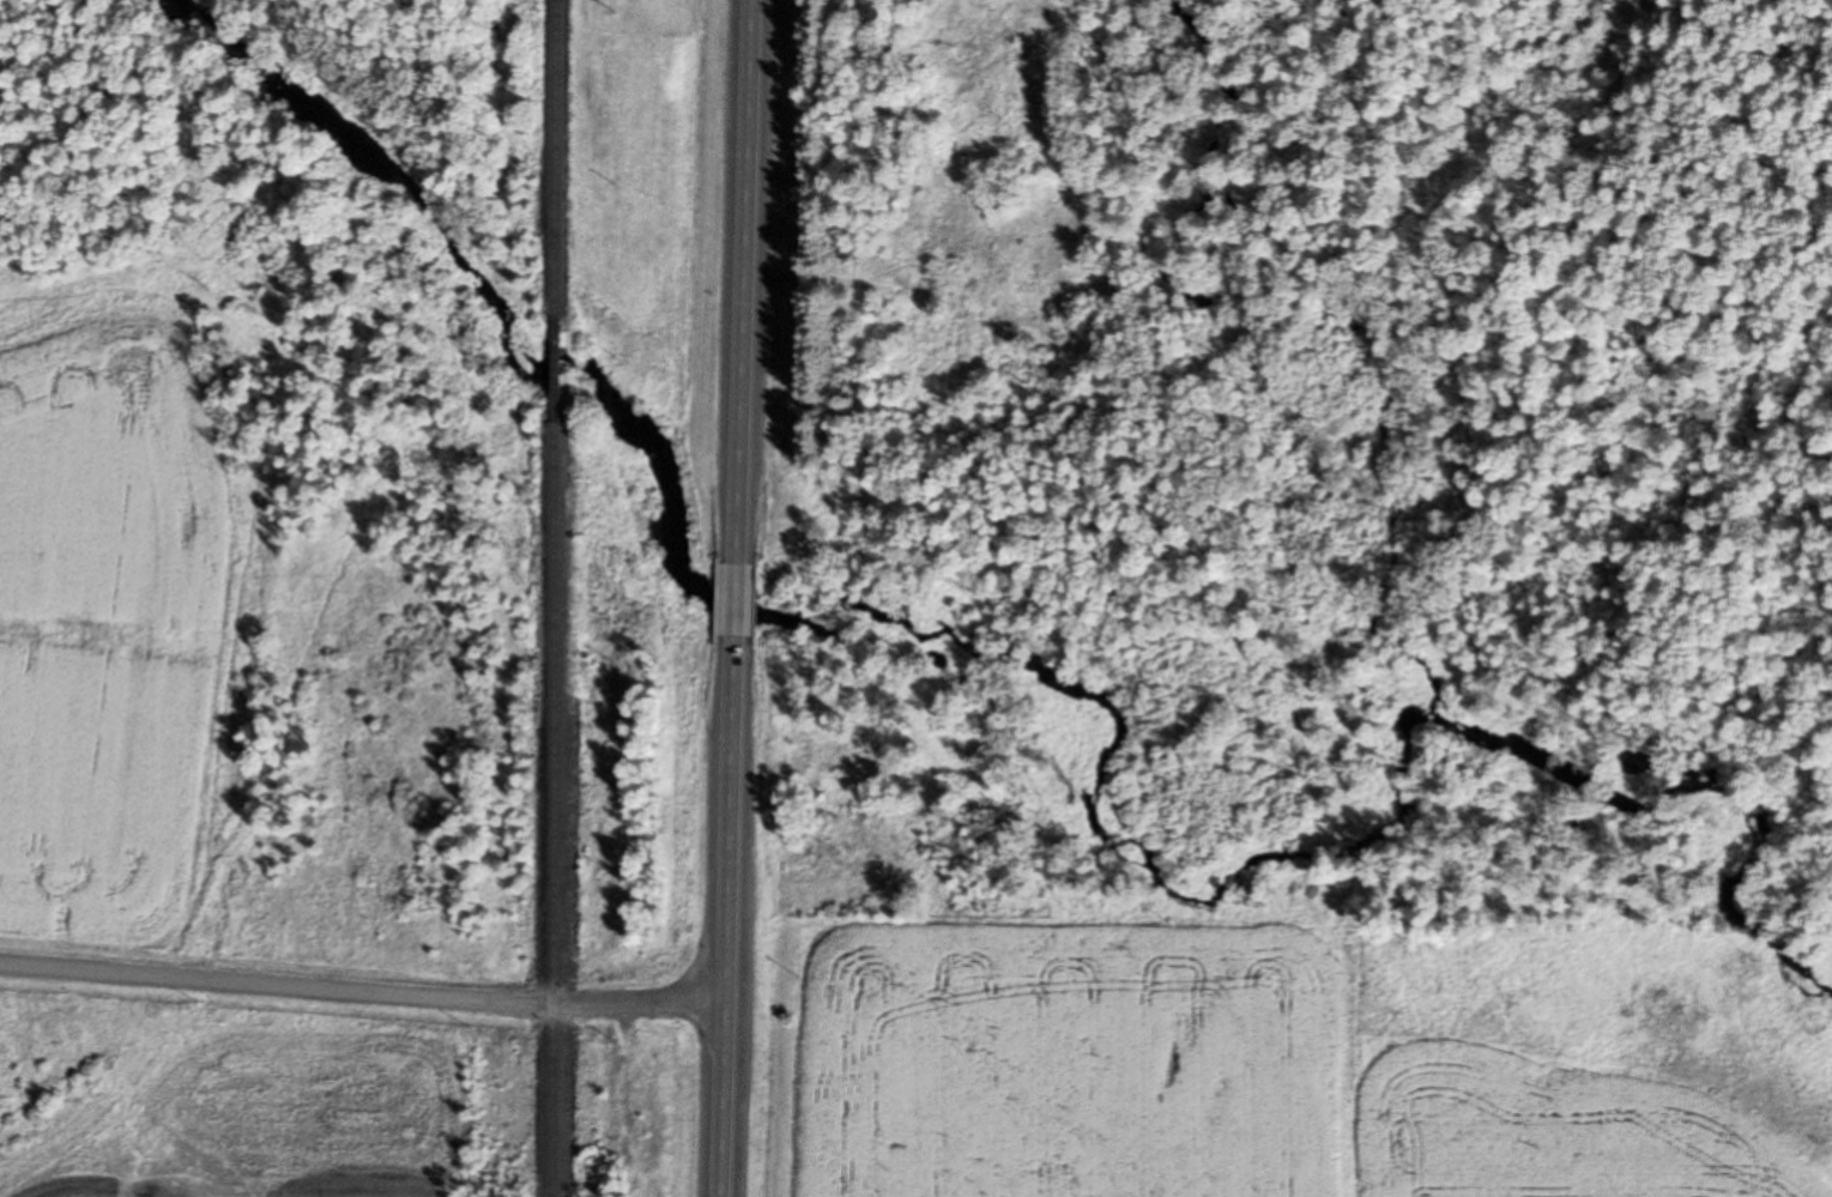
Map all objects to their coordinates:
railway: (562, 156)
railway: (562, 365)
road: (742, 598)
railway: (560, 808)
road: (364, 991)

